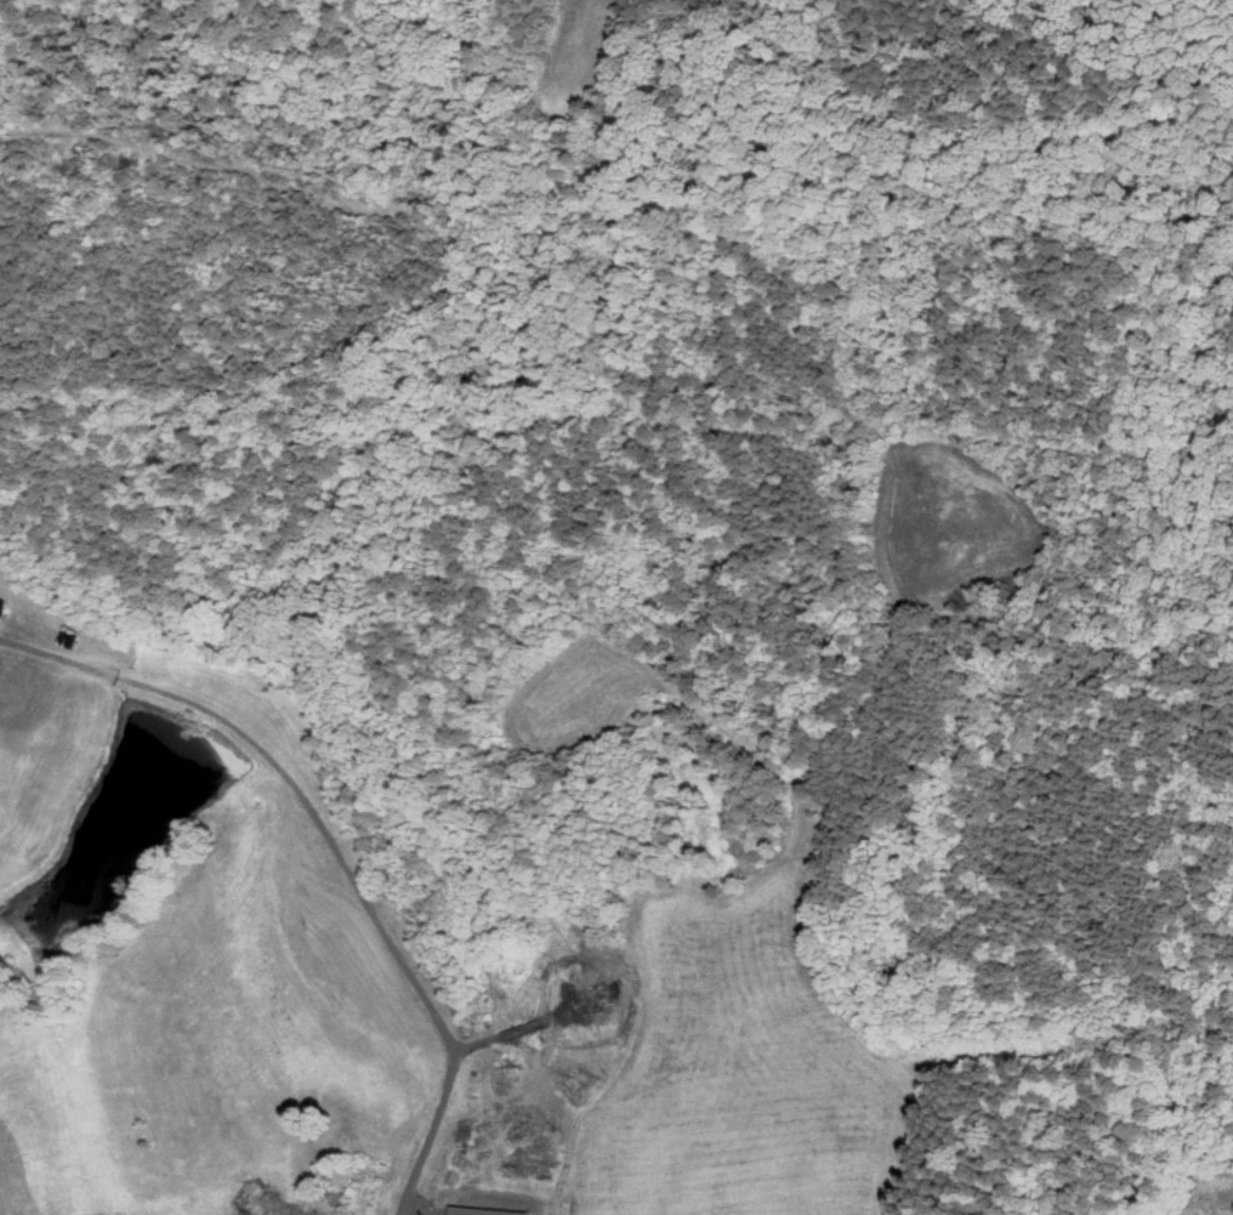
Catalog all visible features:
road: (334, 845)

